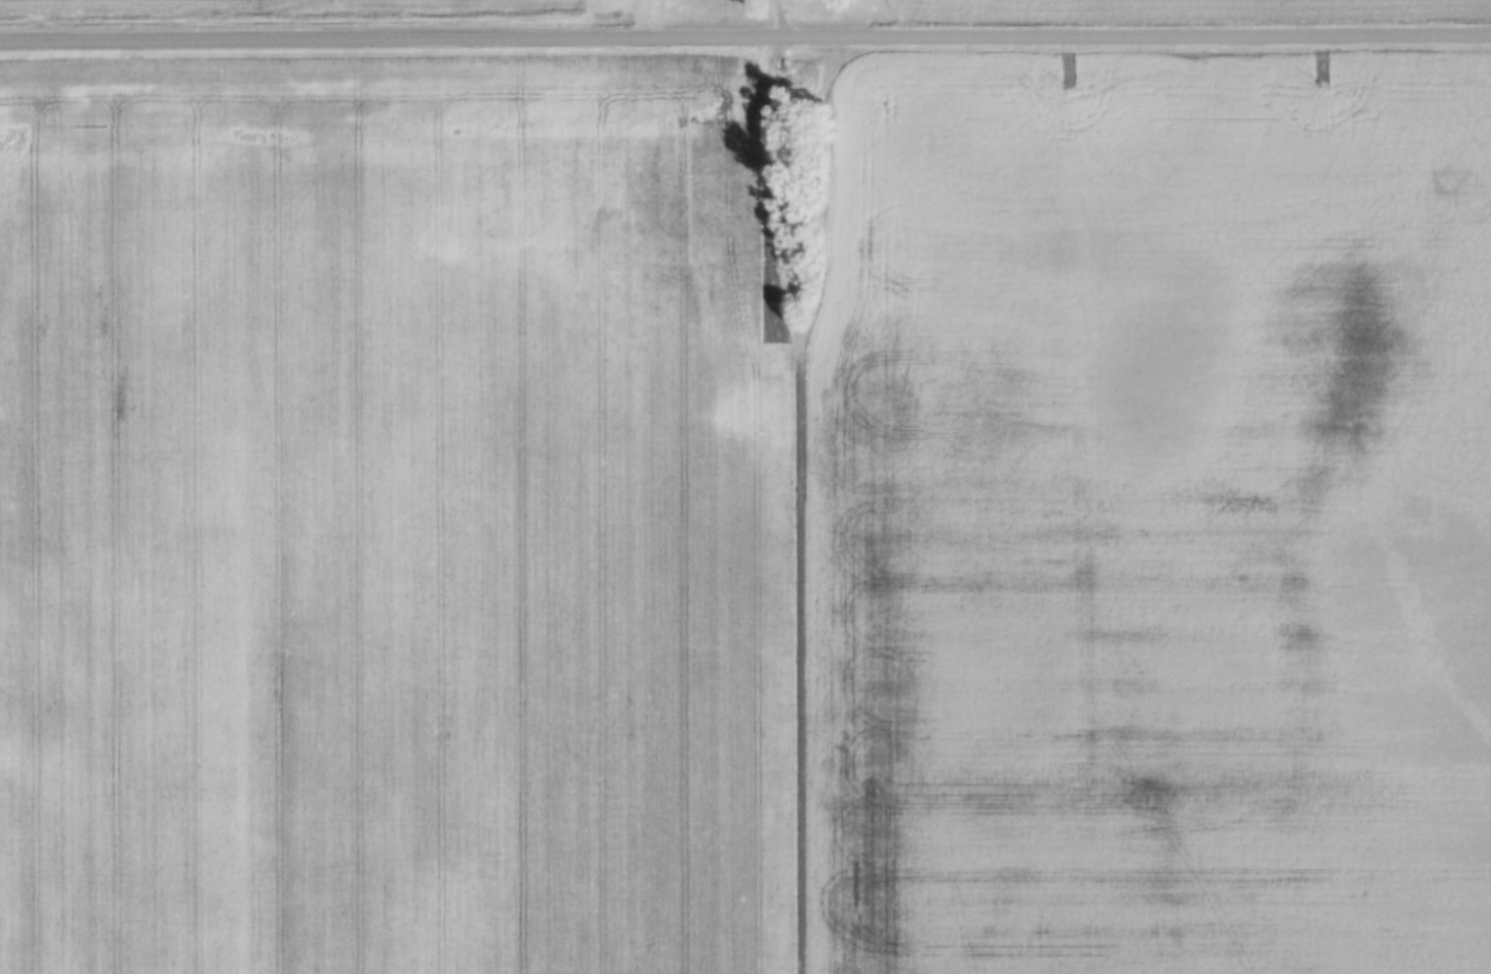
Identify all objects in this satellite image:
road: (645, 17)
road: (776, 17)
road: (745, 35)

